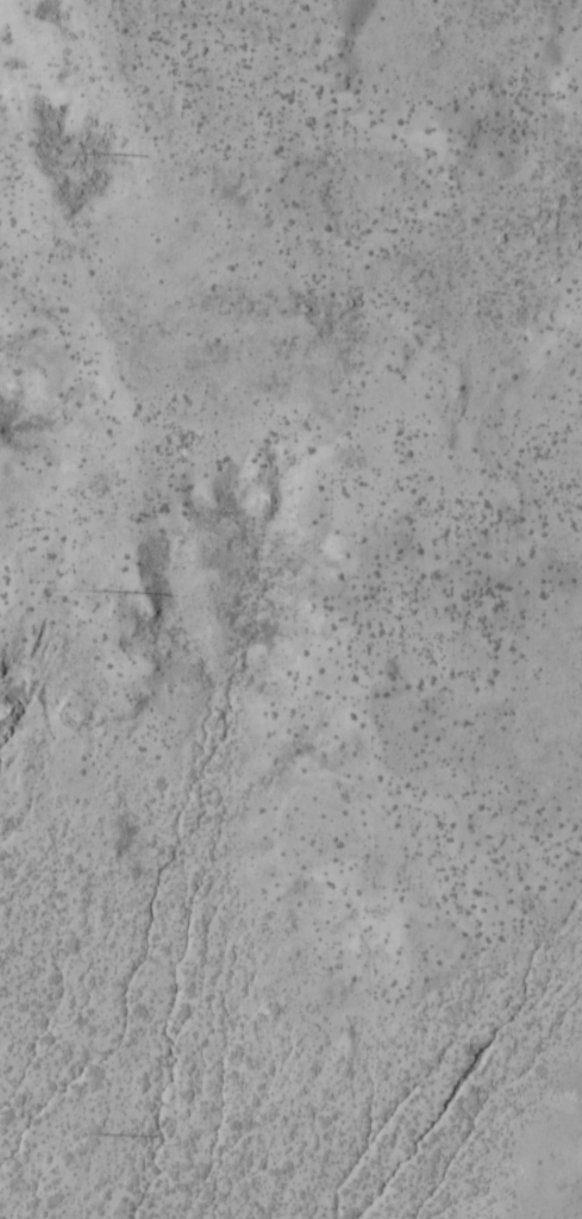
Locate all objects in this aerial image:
power tower: (83, 152)
power tower: (86, 592)
power tower: (85, 1136)

